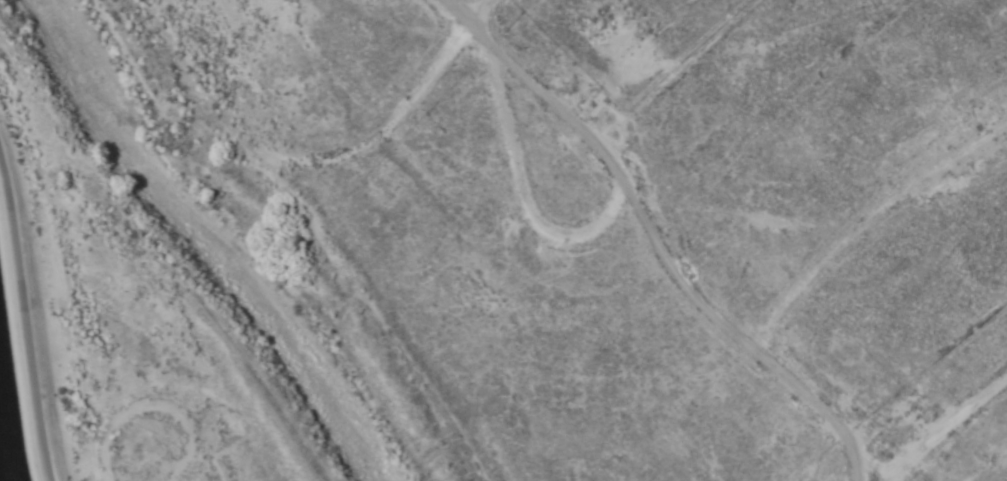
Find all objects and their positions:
road: (467, 5)
road: (565, 103)
road: (118, 267)

